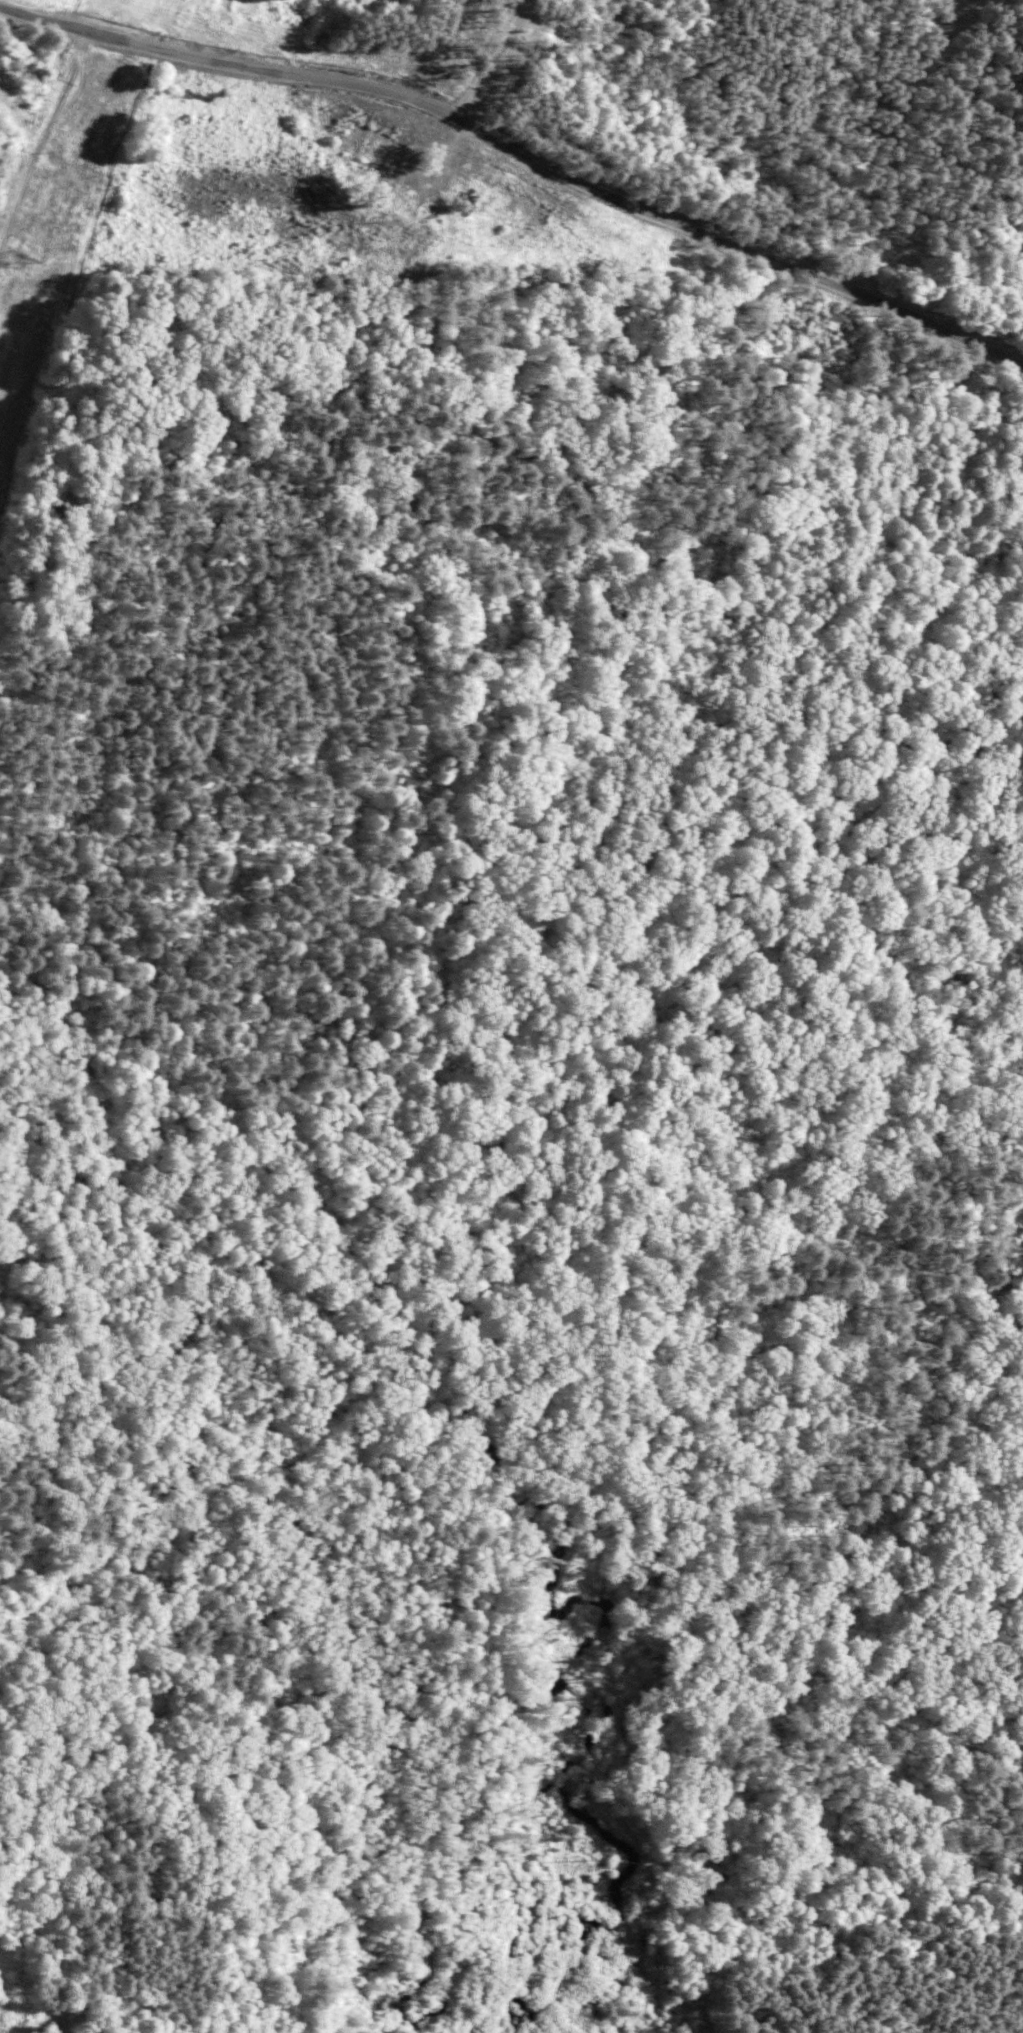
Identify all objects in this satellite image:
road: (489, 61)
road: (521, 151)
power tower: (18, 261)

